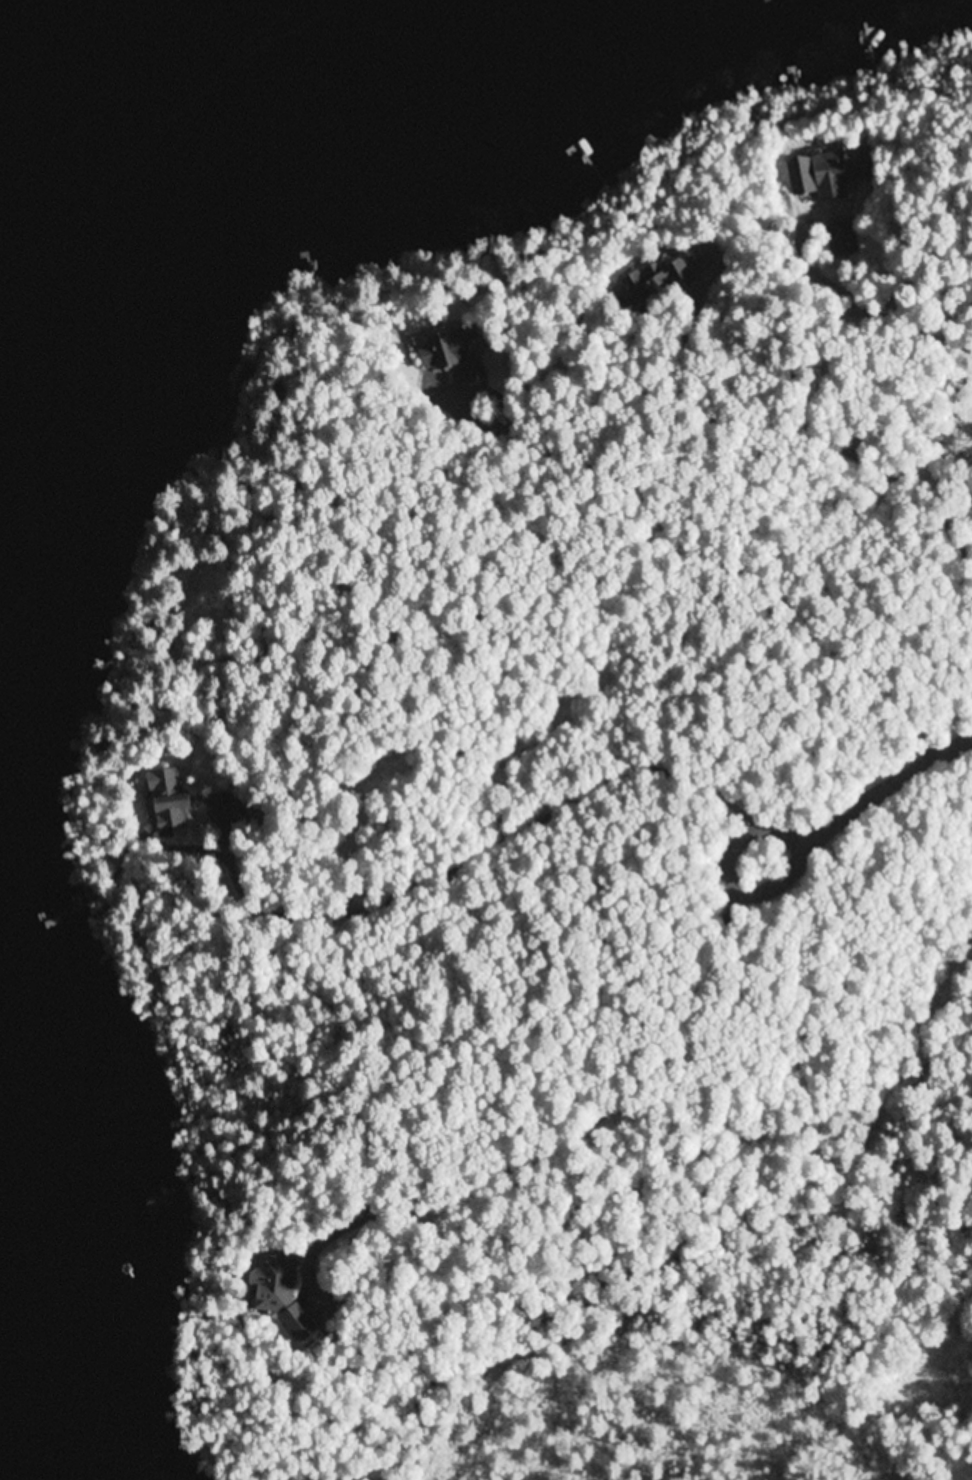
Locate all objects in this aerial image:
building: (458, 344)
road: (942, 387)
road: (891, 781)
building: (167, 792)
road: (757, 878)

